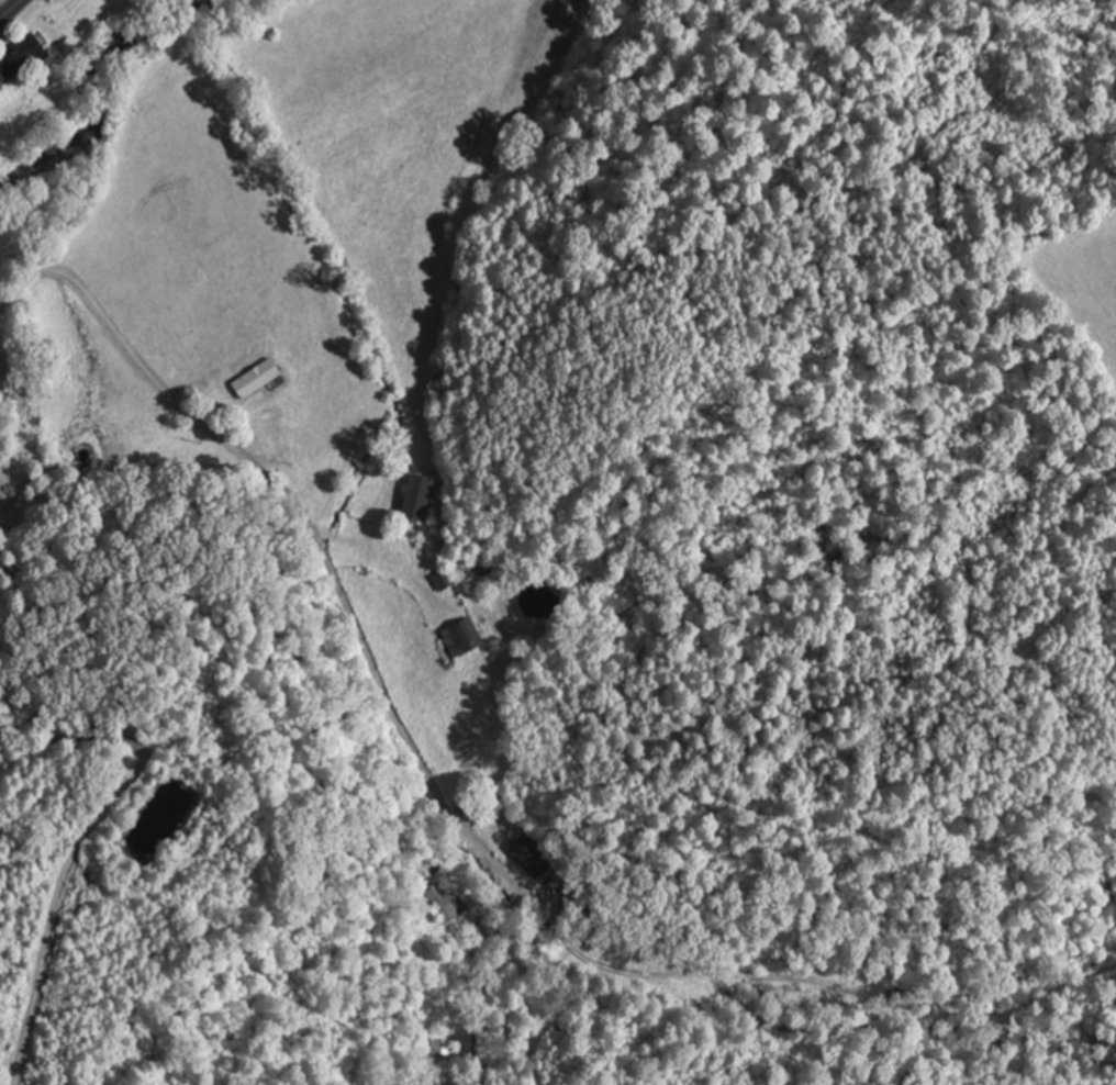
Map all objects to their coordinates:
road: (10, 9)
building: (19, 63)
building: (258, 377)
building: (420, 495)
road: (310, 528)
building: (442, 580)
building: (464, 637)
building: (528, 853)
building: (570, 901)
building: (453, 903)
building: (479, 932)
building: (435, 1051)

